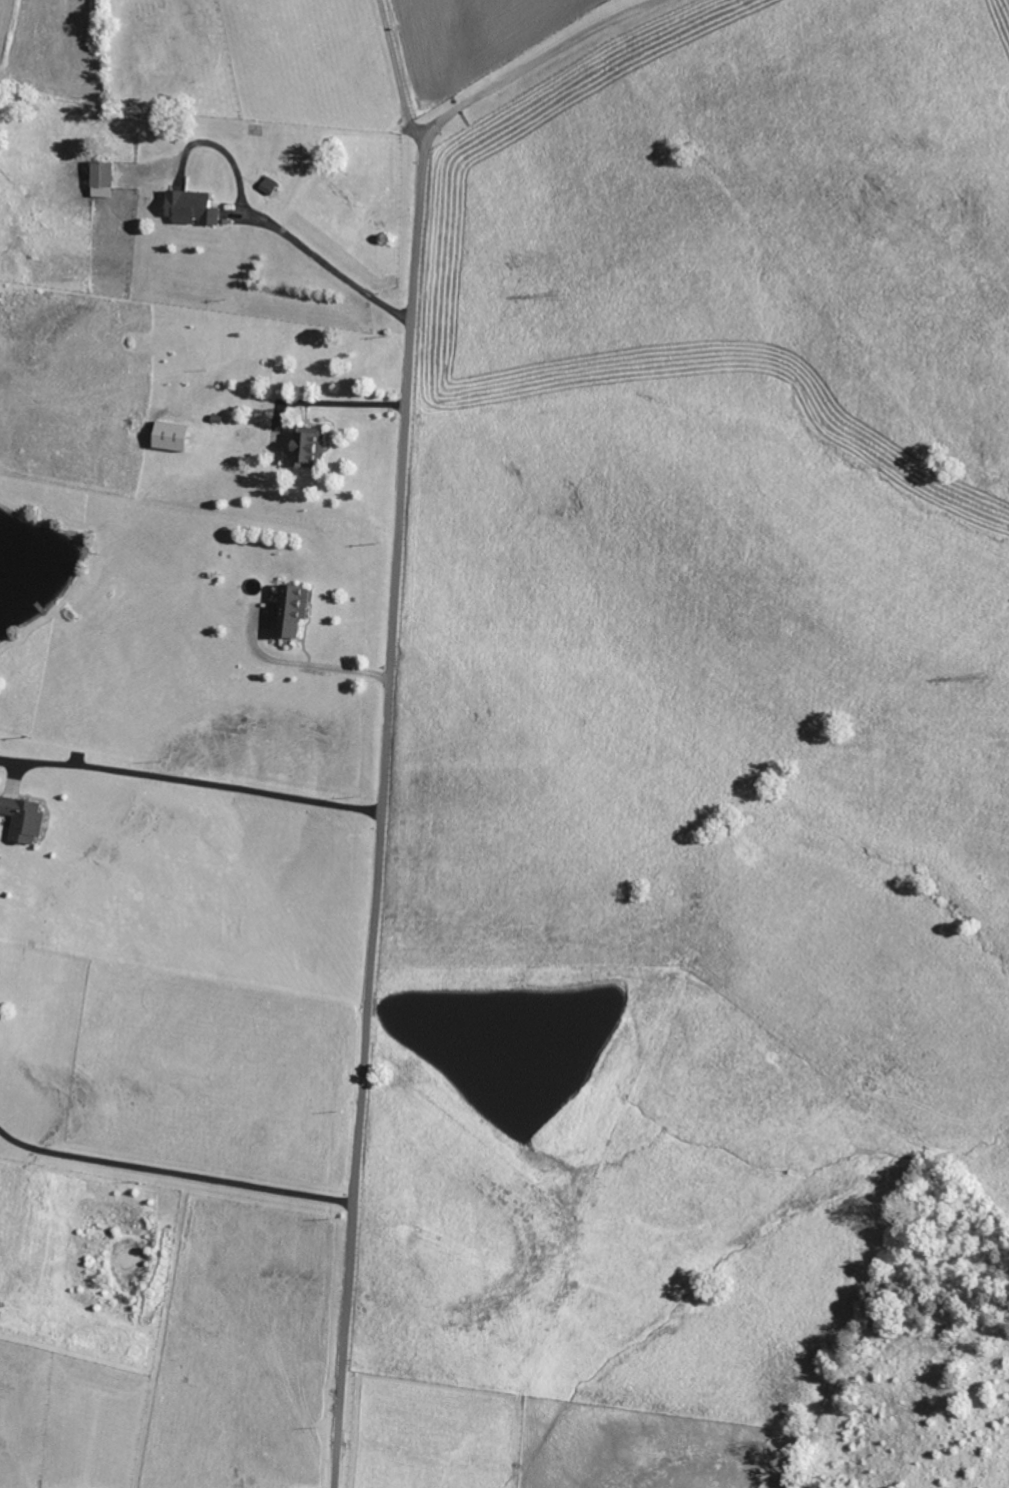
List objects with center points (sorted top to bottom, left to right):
road: (570, 41)
road: (399, 76)
road: (453, 113)
building: (100, 180)
building: (190, 209)
building: (169, 438)
building: (303, 448)
building: (290, 612)
road: (306, 665)
road: (207, 784)
road: (384, 814)
building: (28, 819)
road: (185, 987)
road: (174, 1175)

